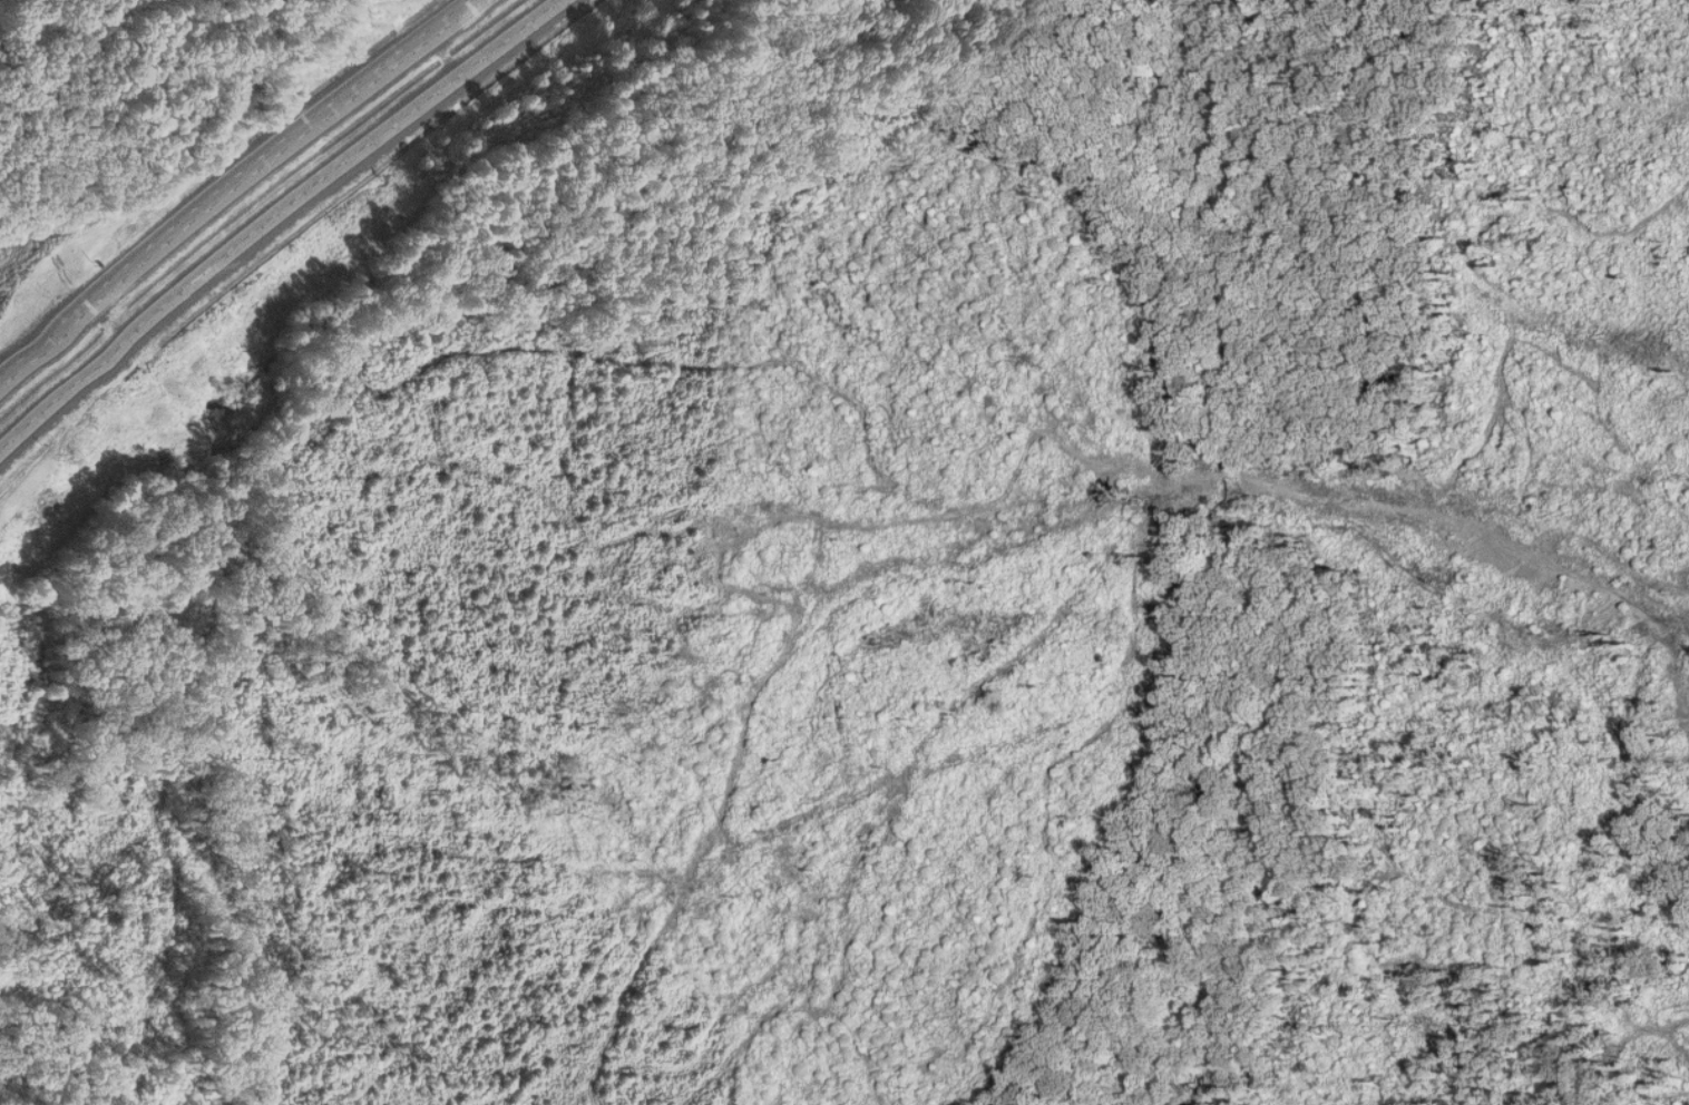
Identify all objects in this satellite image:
road: (230, 182)
road: (274, 216)

